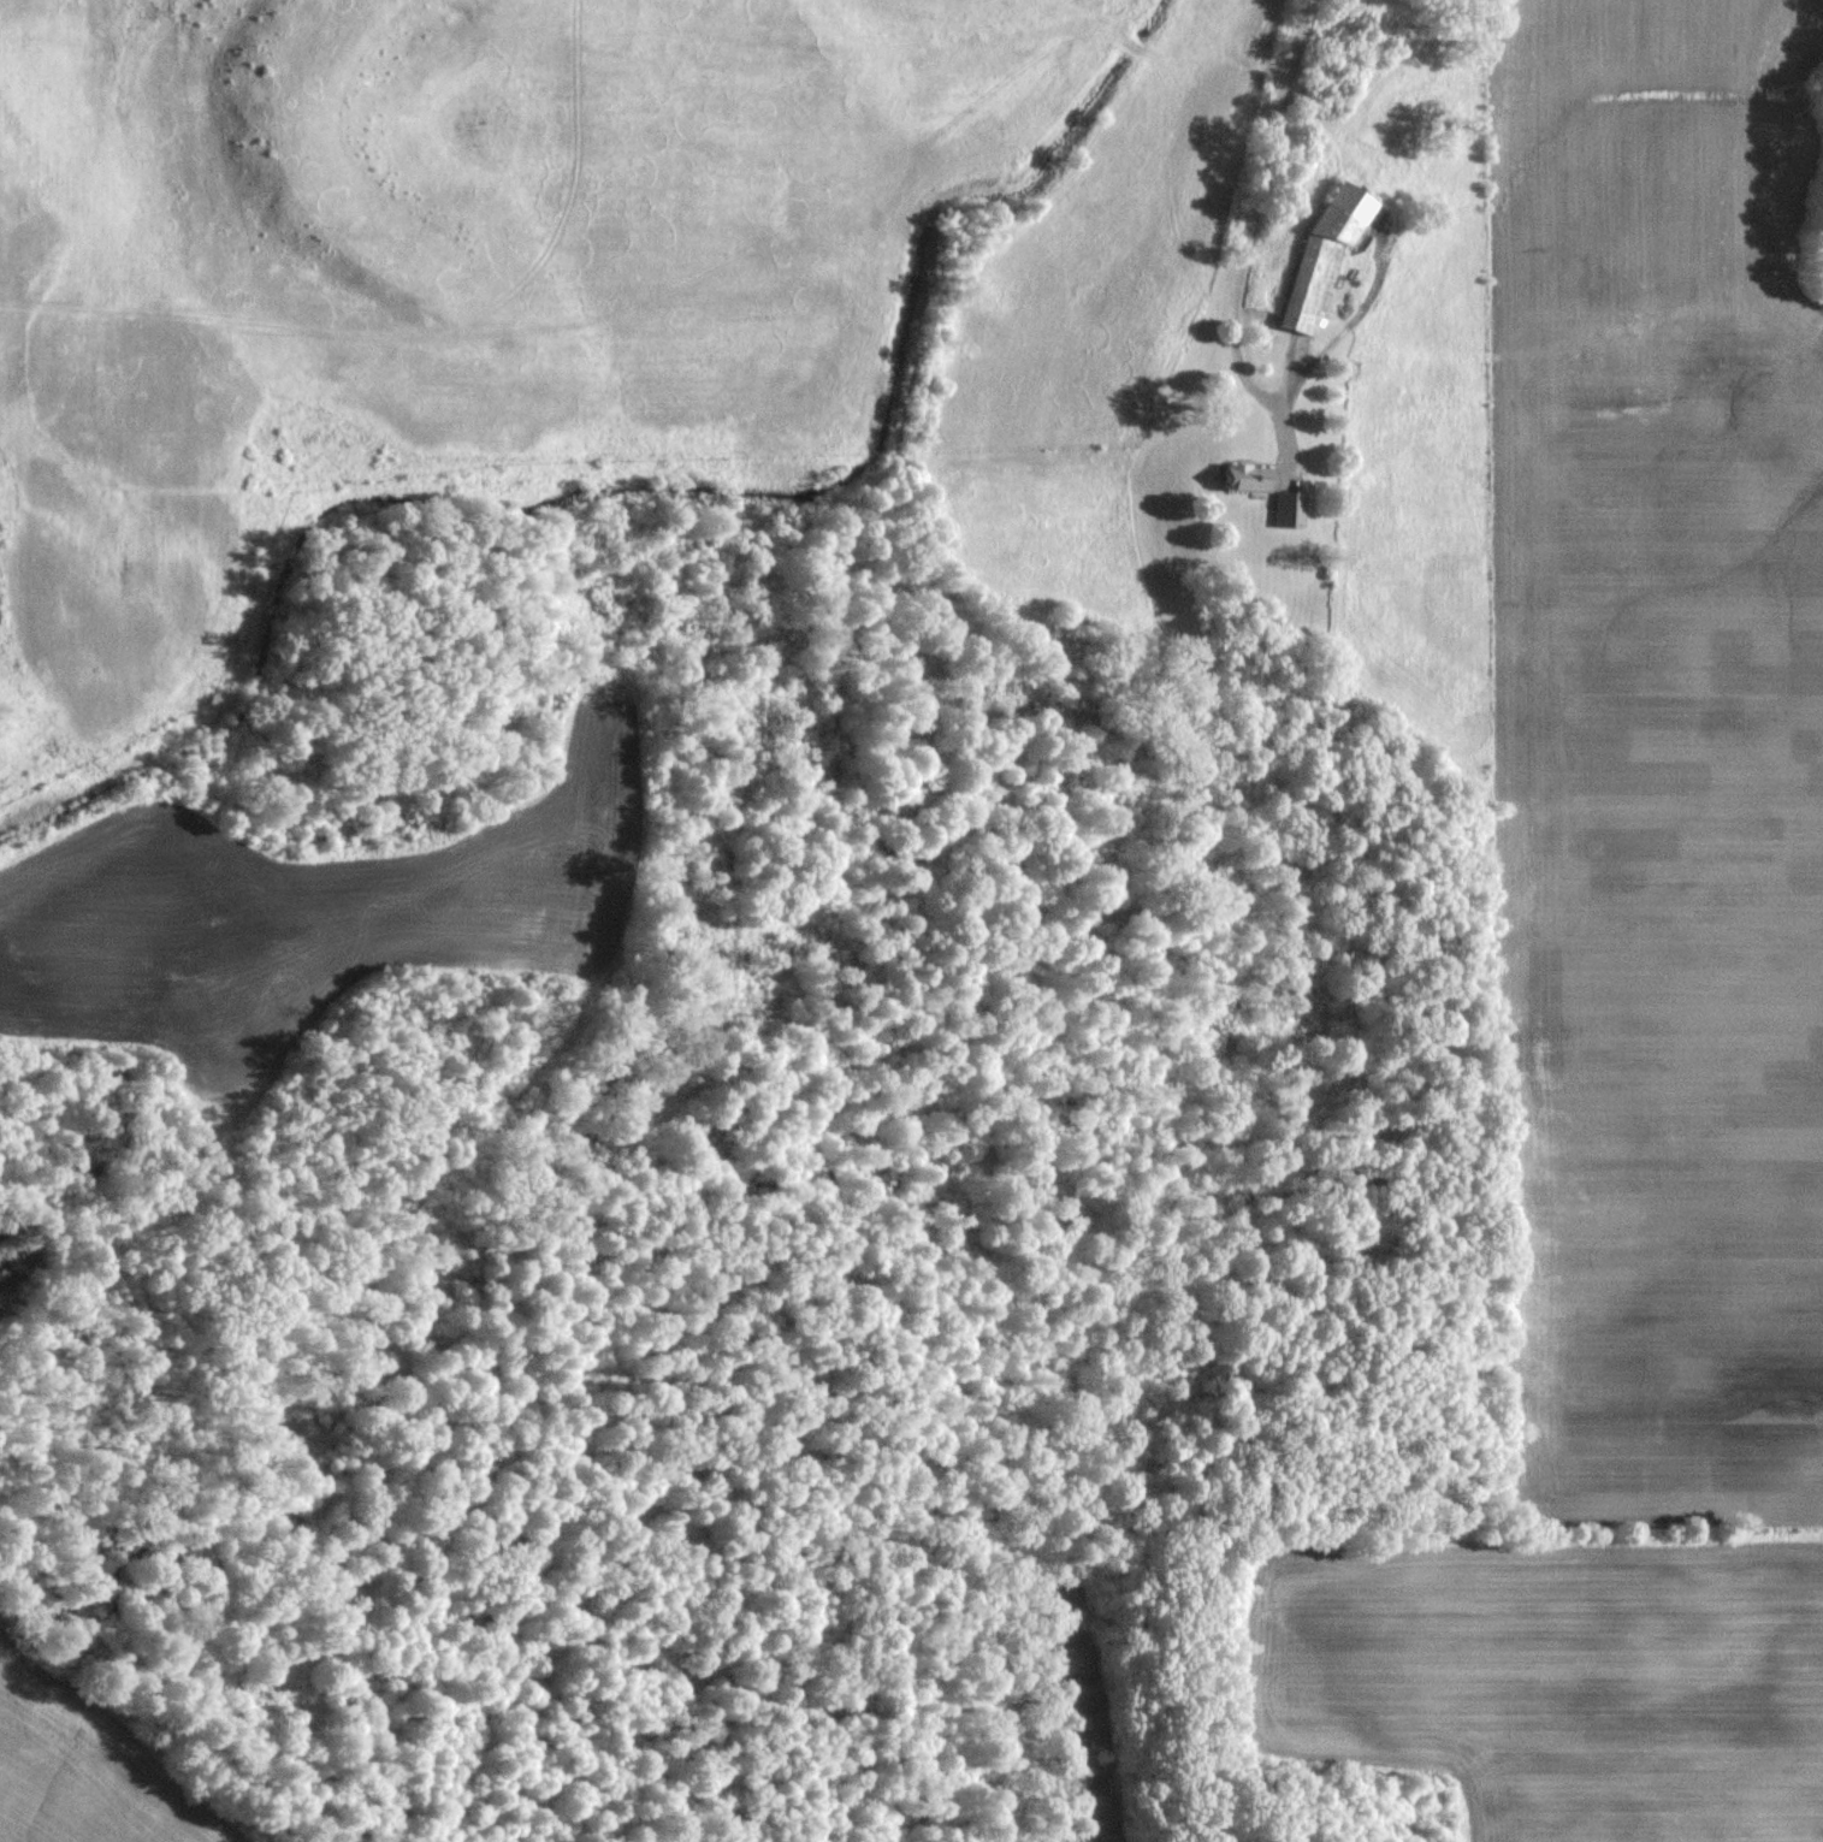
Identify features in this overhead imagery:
road: (1251, 230)
building: (1321, 260)
building: (1245, 478)
building: (1289, 510)

